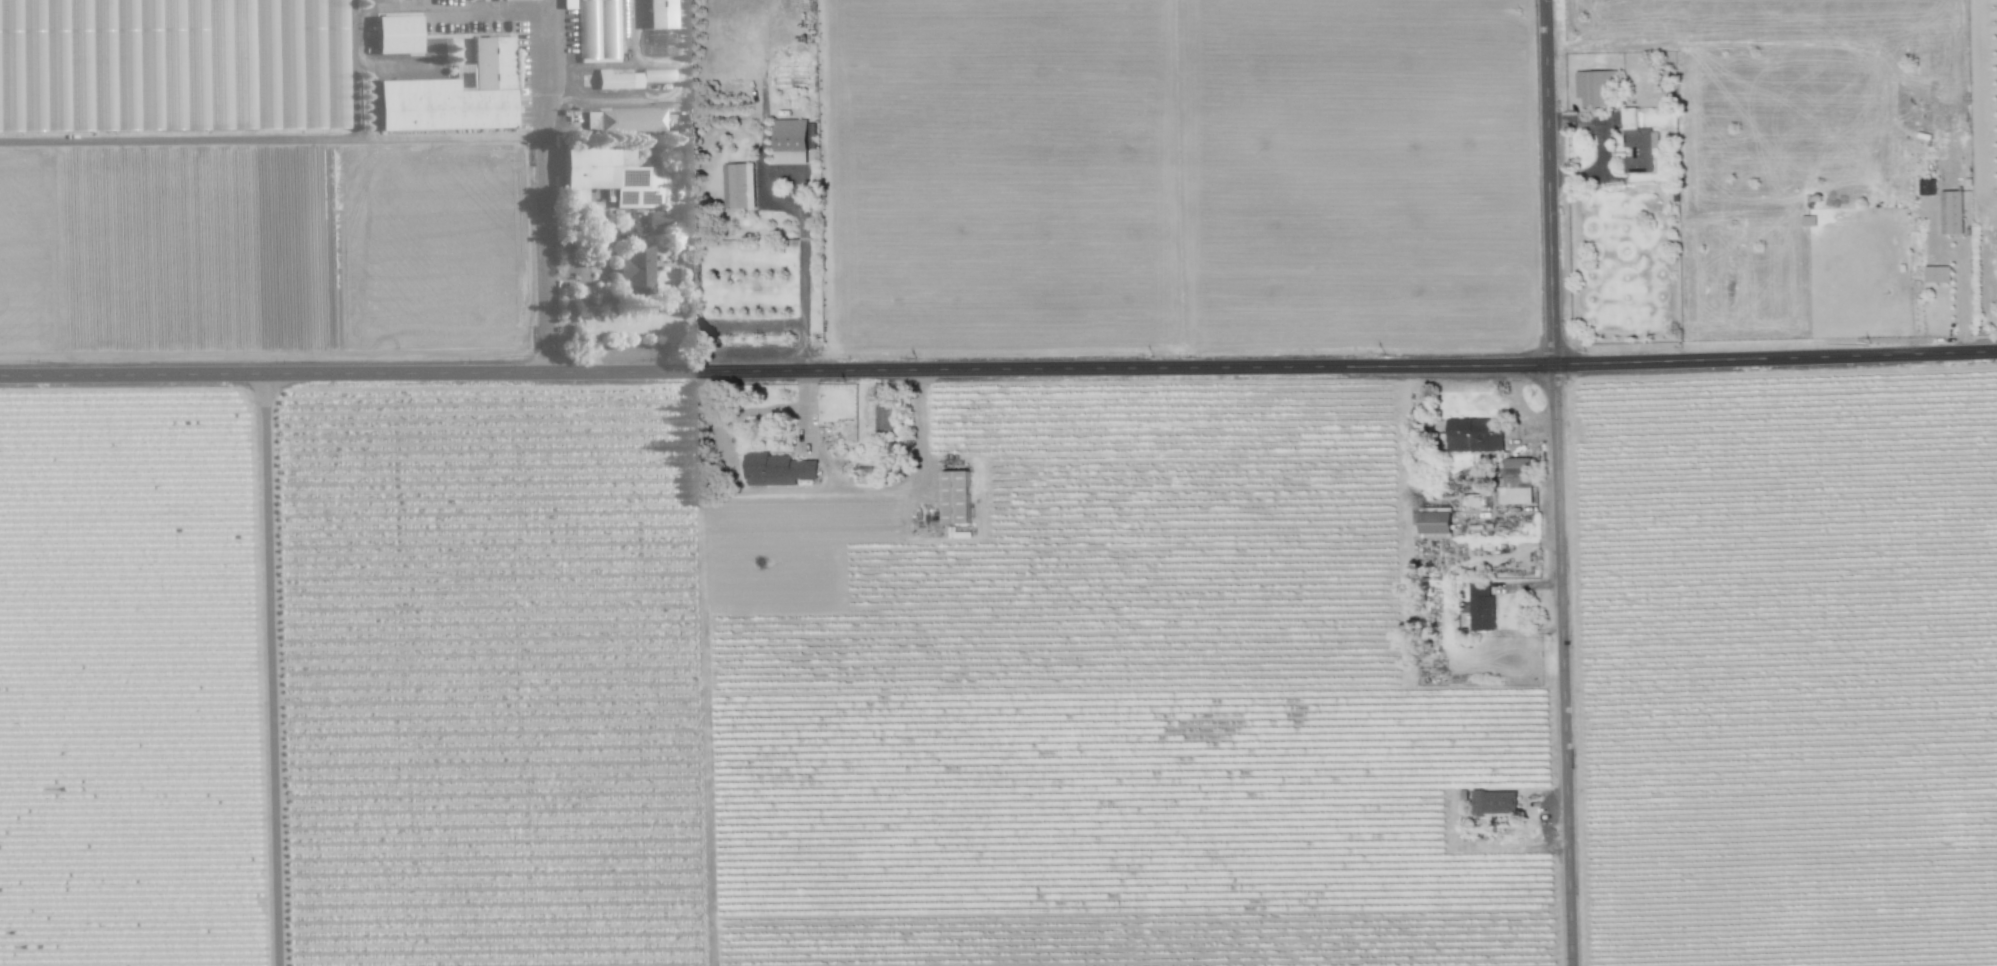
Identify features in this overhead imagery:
building: (659, 14)
building: (397, 34)
building: (657, 75)
building: (617, 80)
building: (1595, 89)
building: (454, 94)
building: (624, 122)
building: (789, 141)
building: (1637, 144)
building: (607, 176)
building: (736, 184)
road: (548, 186)
building: (1926, 187)
building: (1951, 213)
building: (659, 219)
building: (638, 266)
road: (803, 274)
building: (1936, 274)
road: (1962, 301)
road: (659, 323)
road: (998, 368)
road: (741, 408)
building: (884, 417)
building: (1474, 435)
building: (776, 469)
road: (868, 481)
building: (1515, 482)
road: (1563, 482)
building: (955, 497)
building: (1481, 607)
road: (276, 670)
building: (1494, 803)

